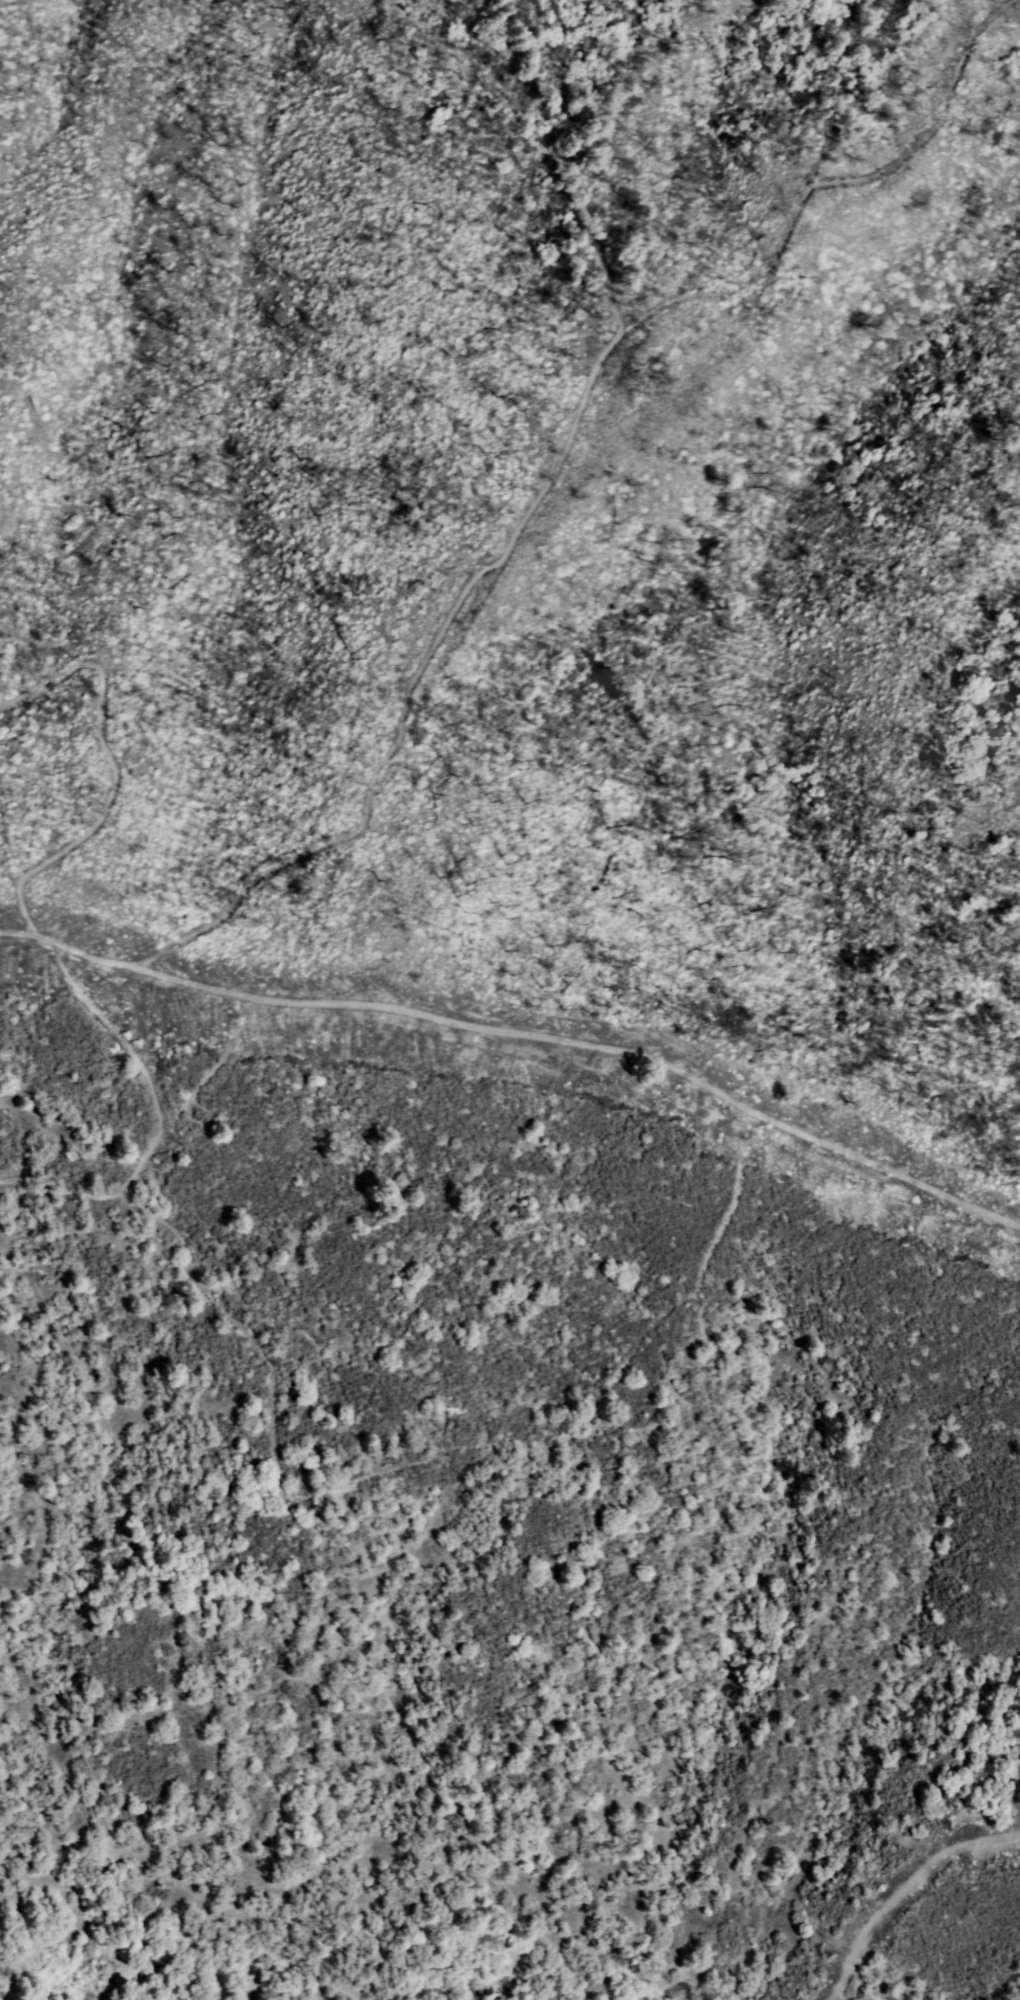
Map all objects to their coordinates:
road: (523, 1030)
road: (909, 1892)

